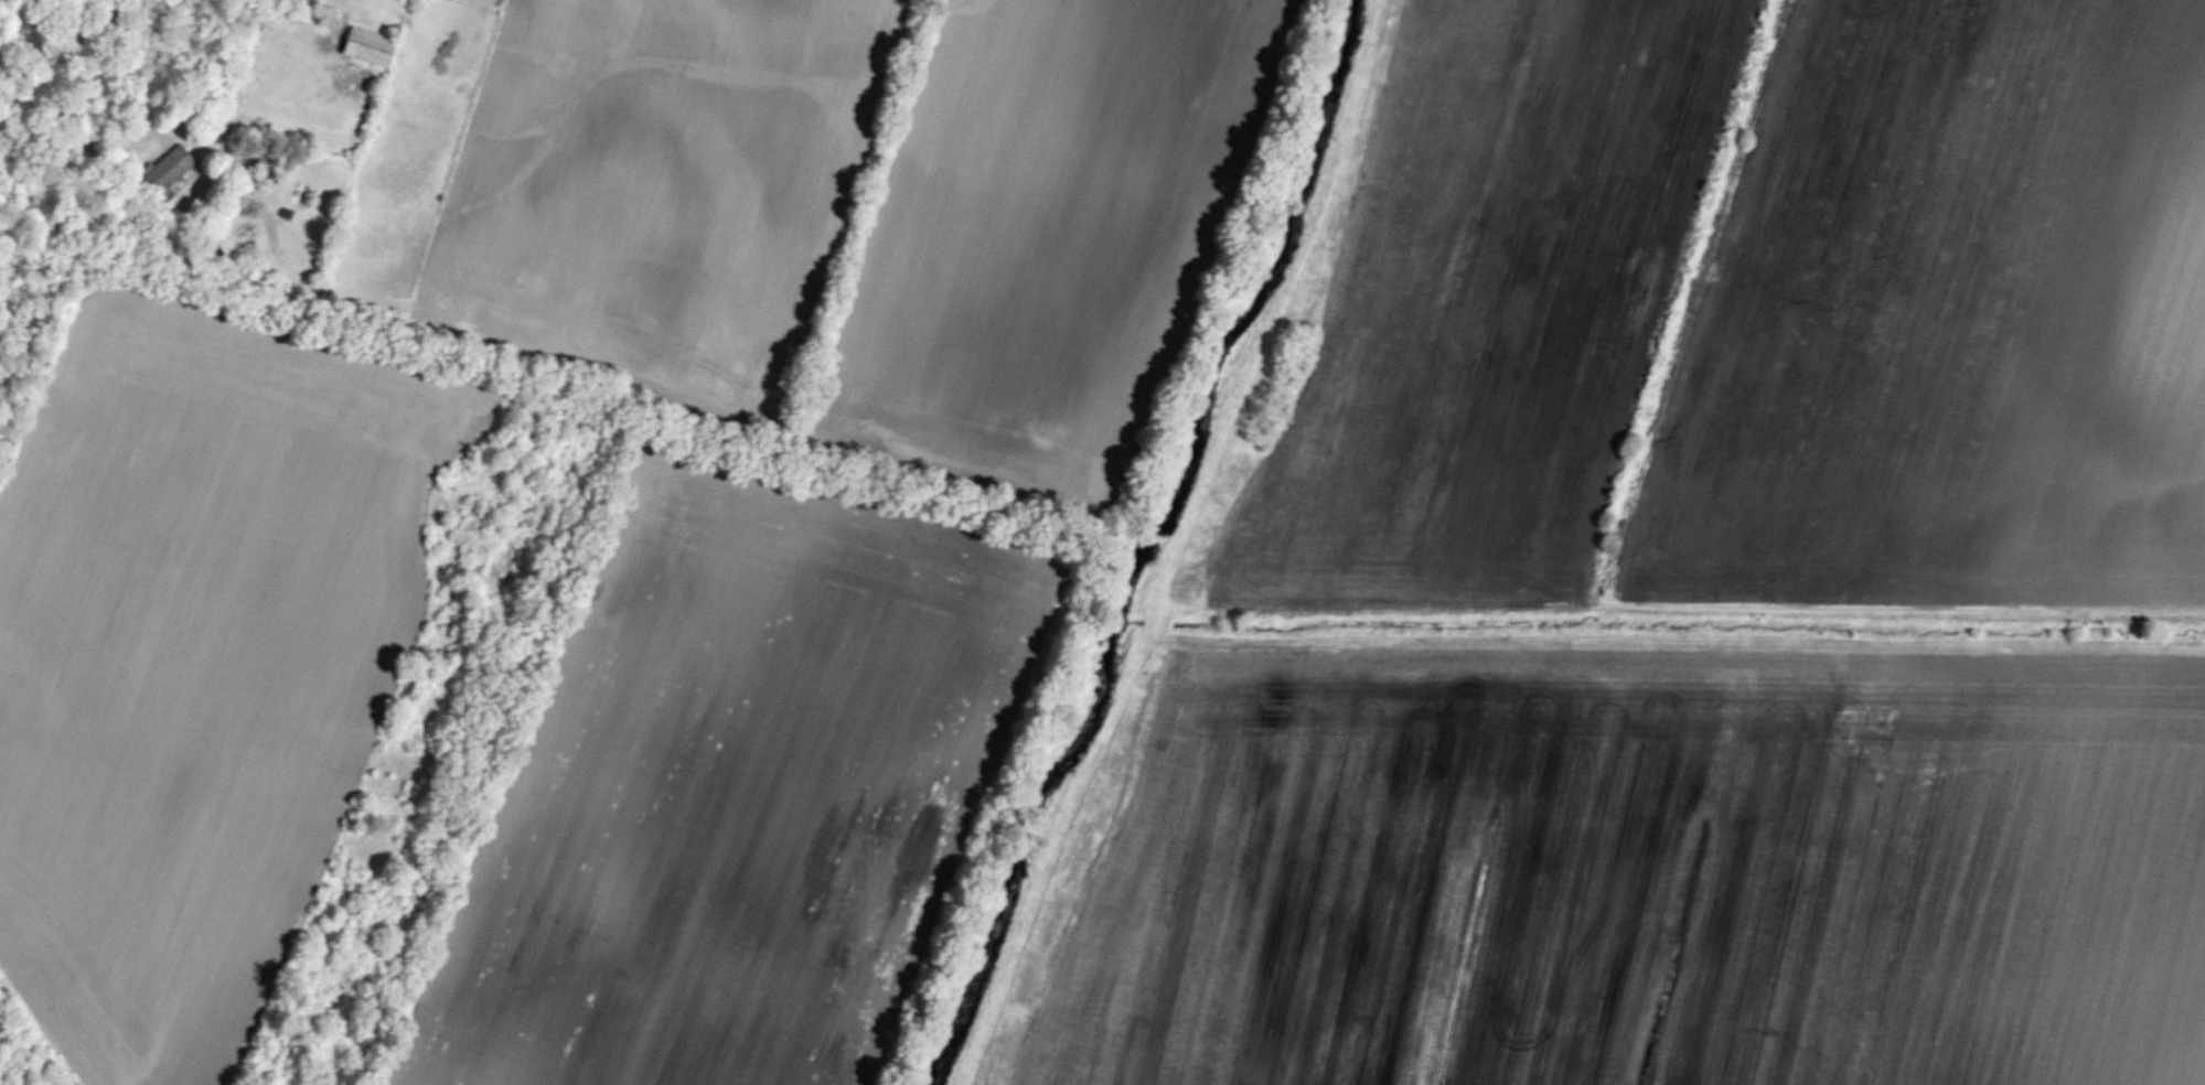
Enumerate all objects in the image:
building: (367, 47)
road: (144, 120)
building: (175, 165)

